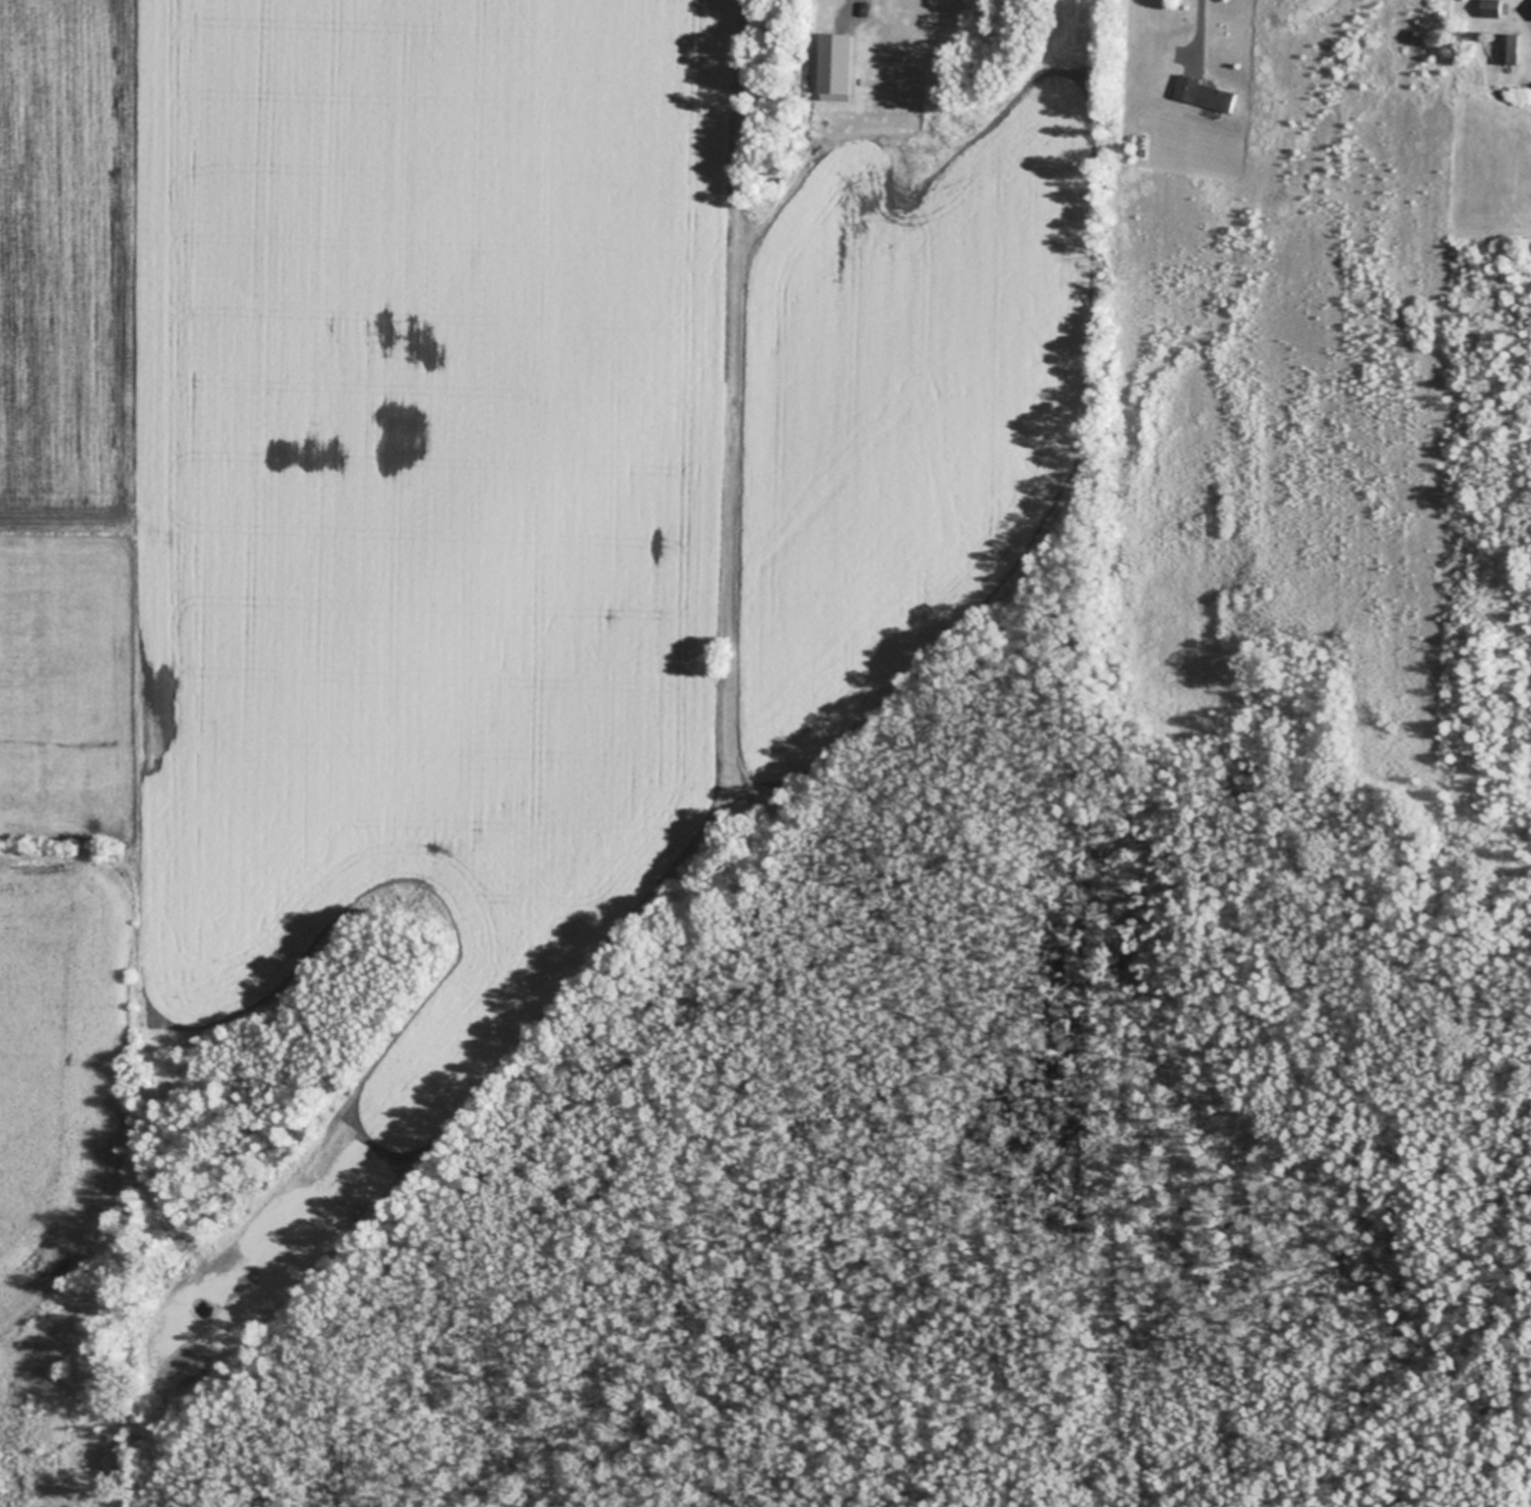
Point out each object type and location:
building: (1494, 8)
road: (1203, 33)
building: (1491, 35)
building: (1511, 49)
building: (843, 66)
building: (1209, 93)
building: (779, 179)

